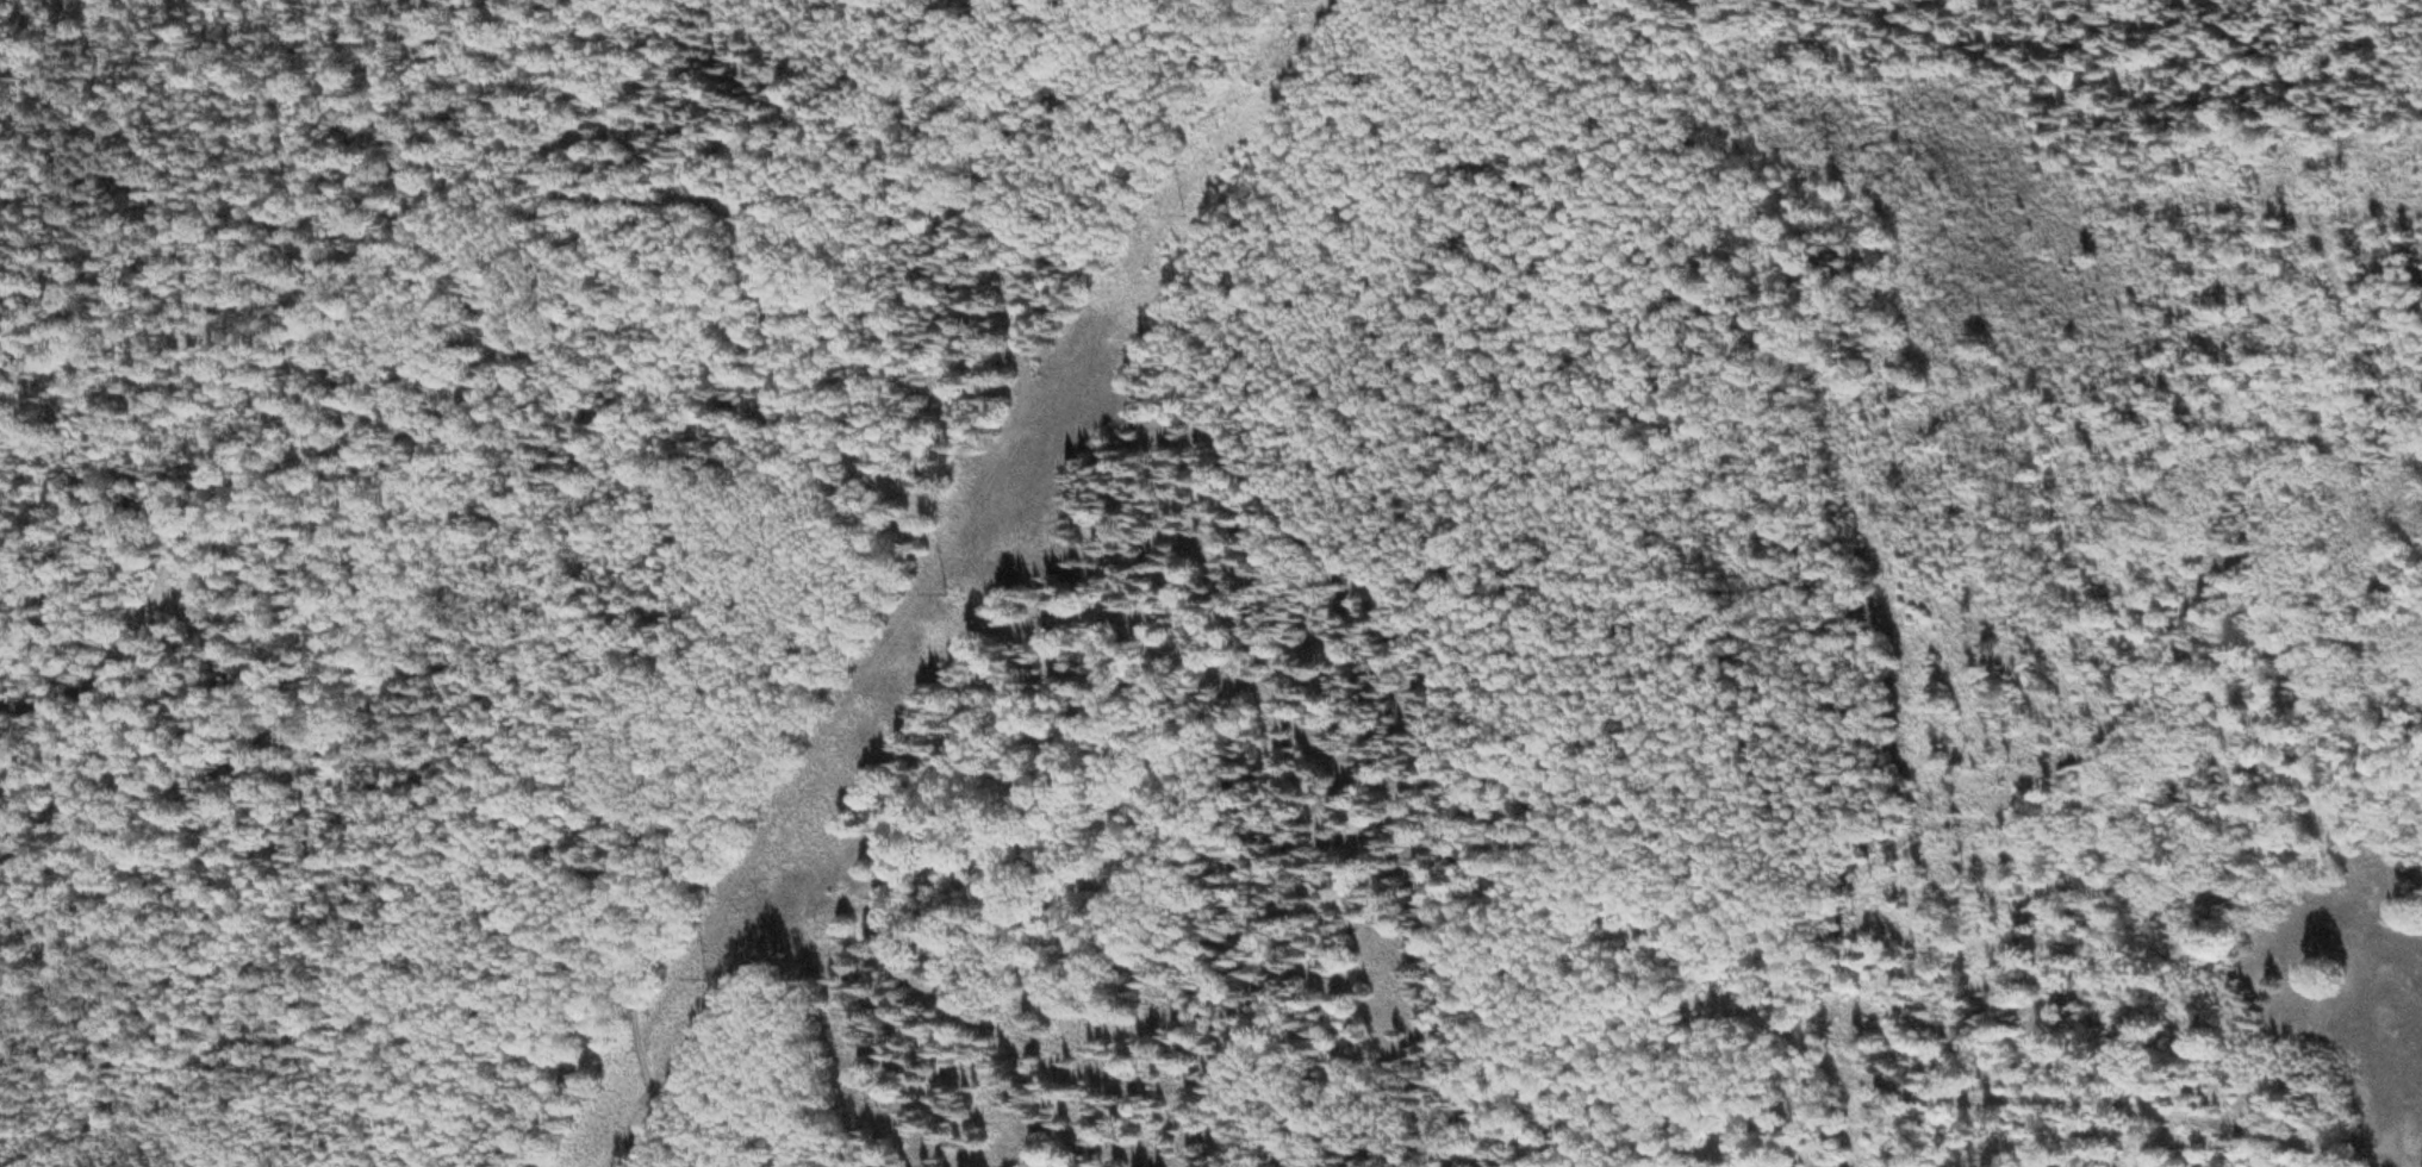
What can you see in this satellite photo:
road: (795, 81)
road: (381, 437)
road: (730, 695)
road: (2421, 1152)

